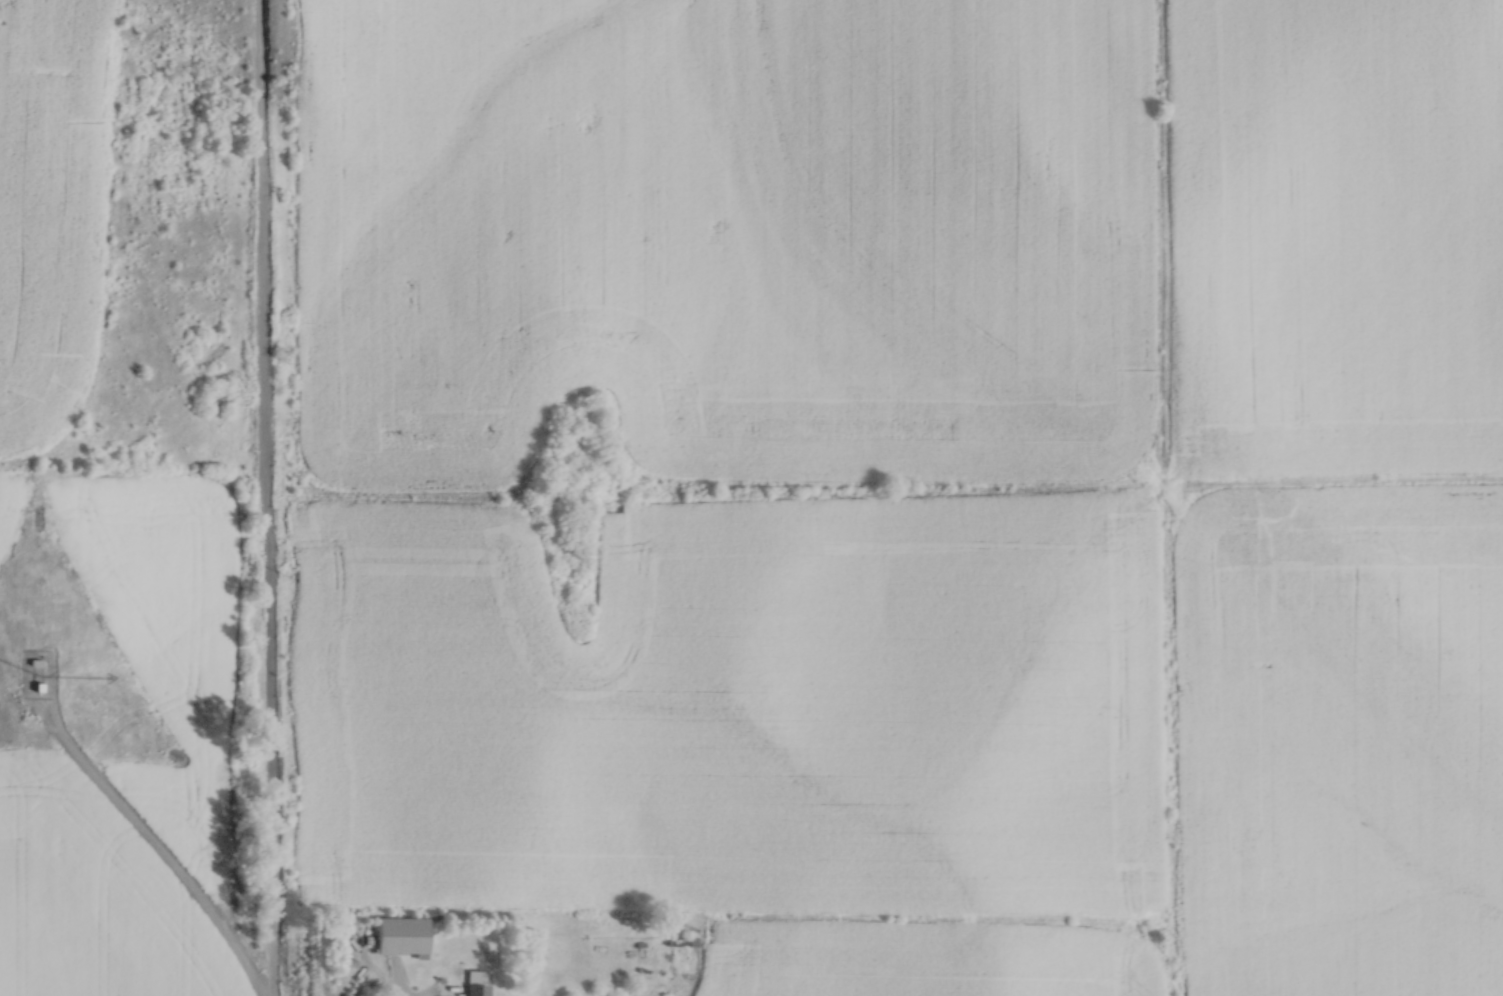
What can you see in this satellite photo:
road: (264, 498)
building: (400, 932)
building: (681, 938)
building: (475, 988)

